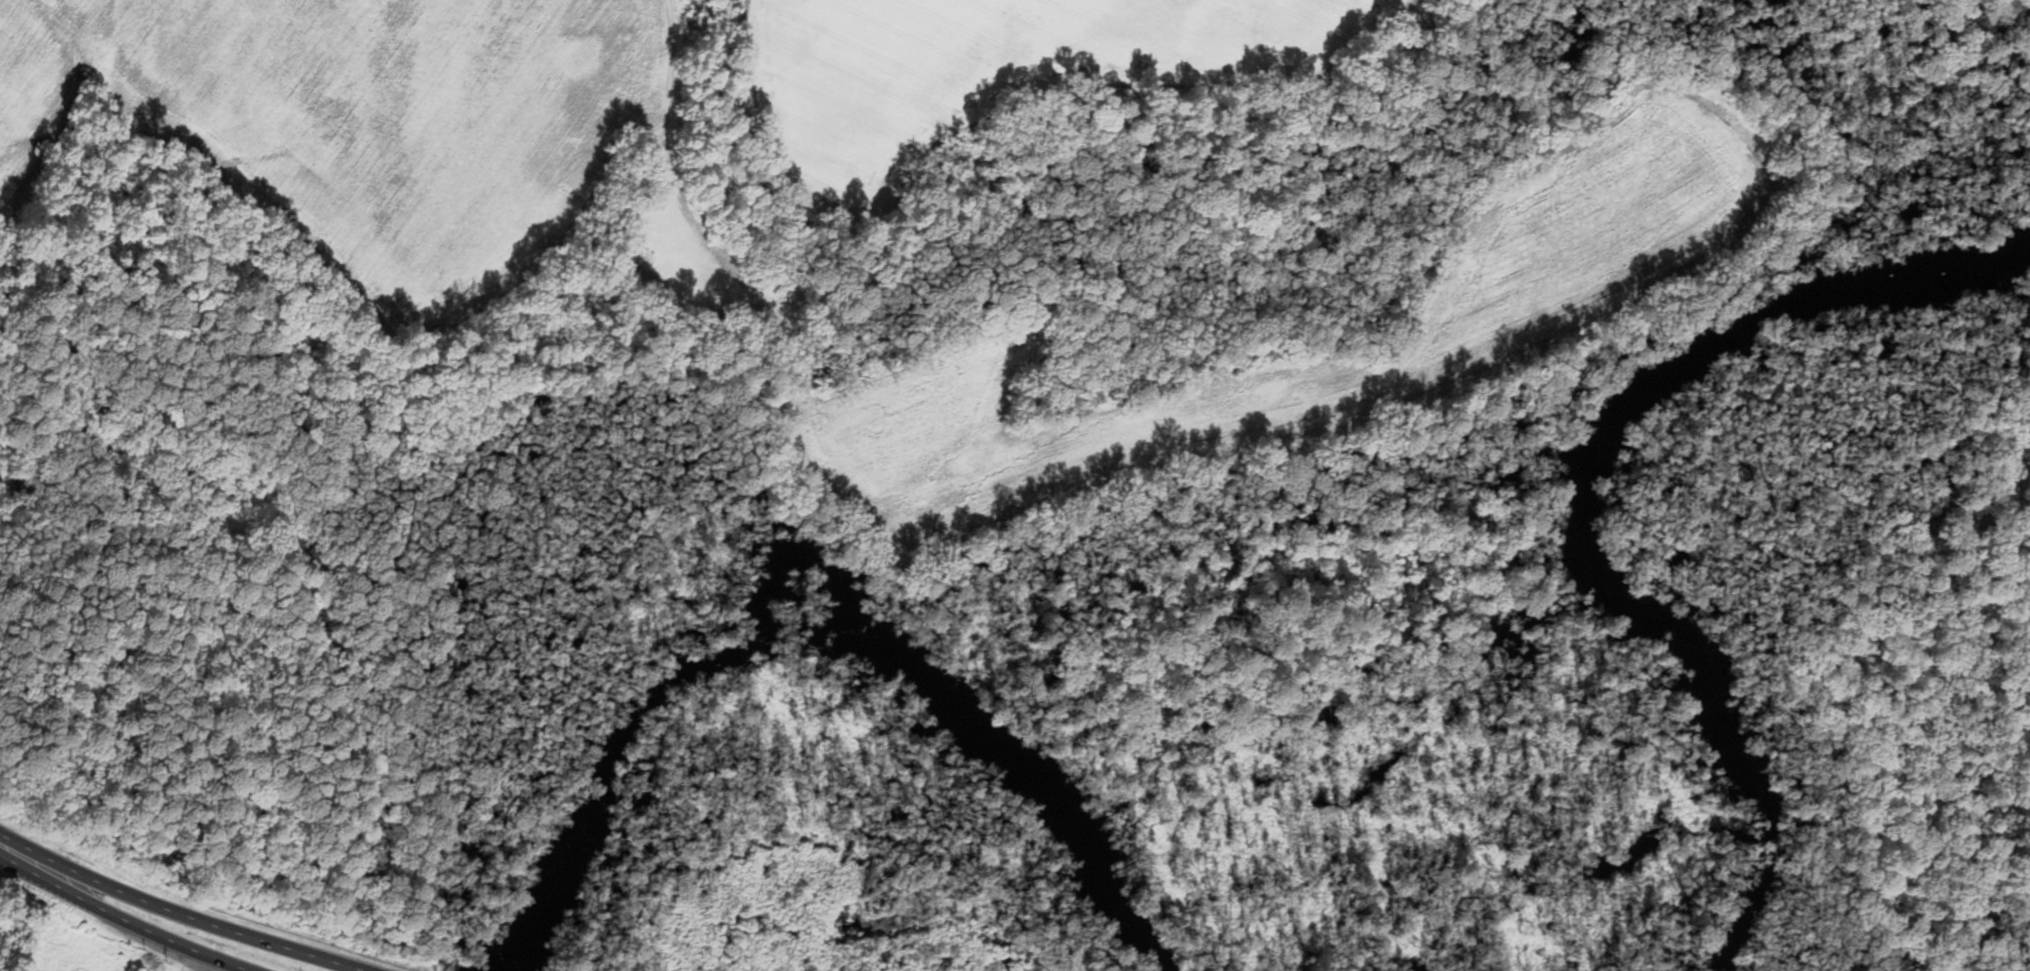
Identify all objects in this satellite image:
road: (3, 851)
road: (178, 917)
road: (120, 919)

